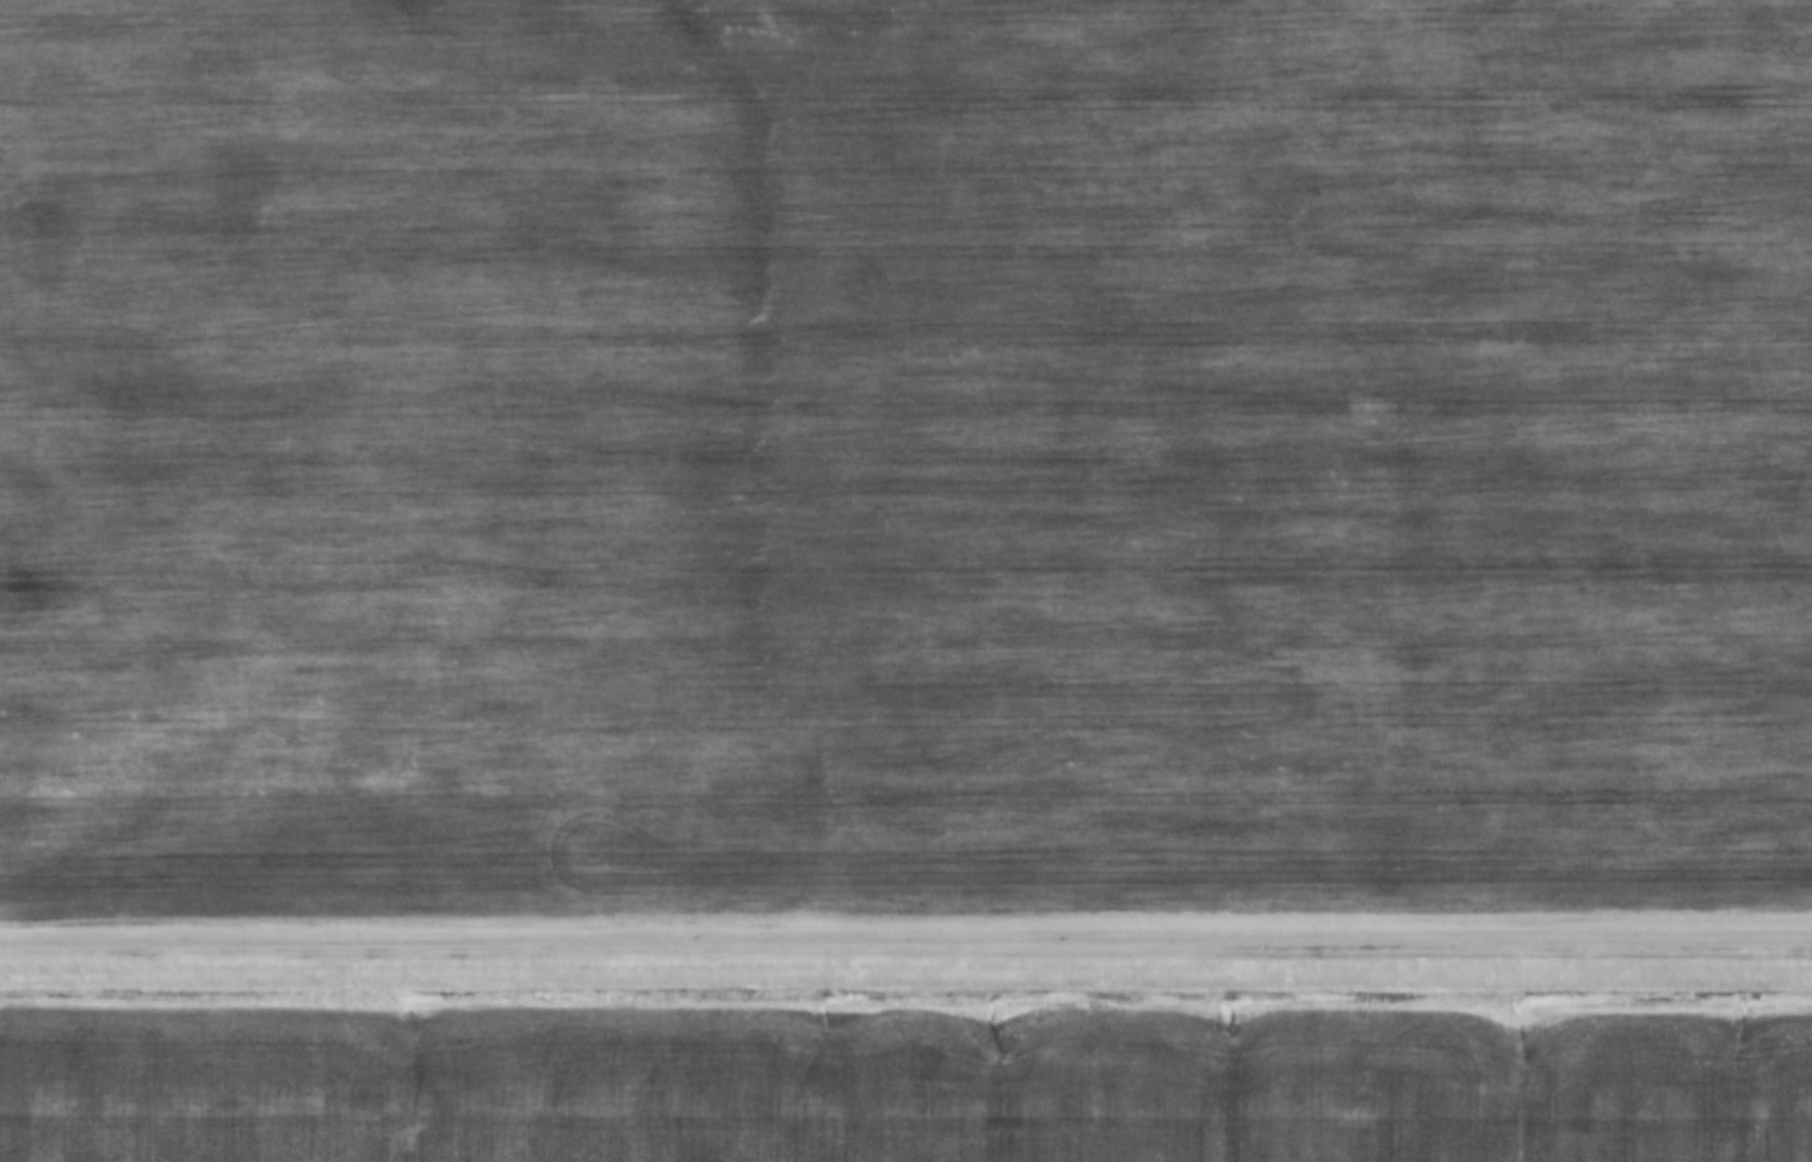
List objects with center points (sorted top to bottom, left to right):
road: (905, 958)

